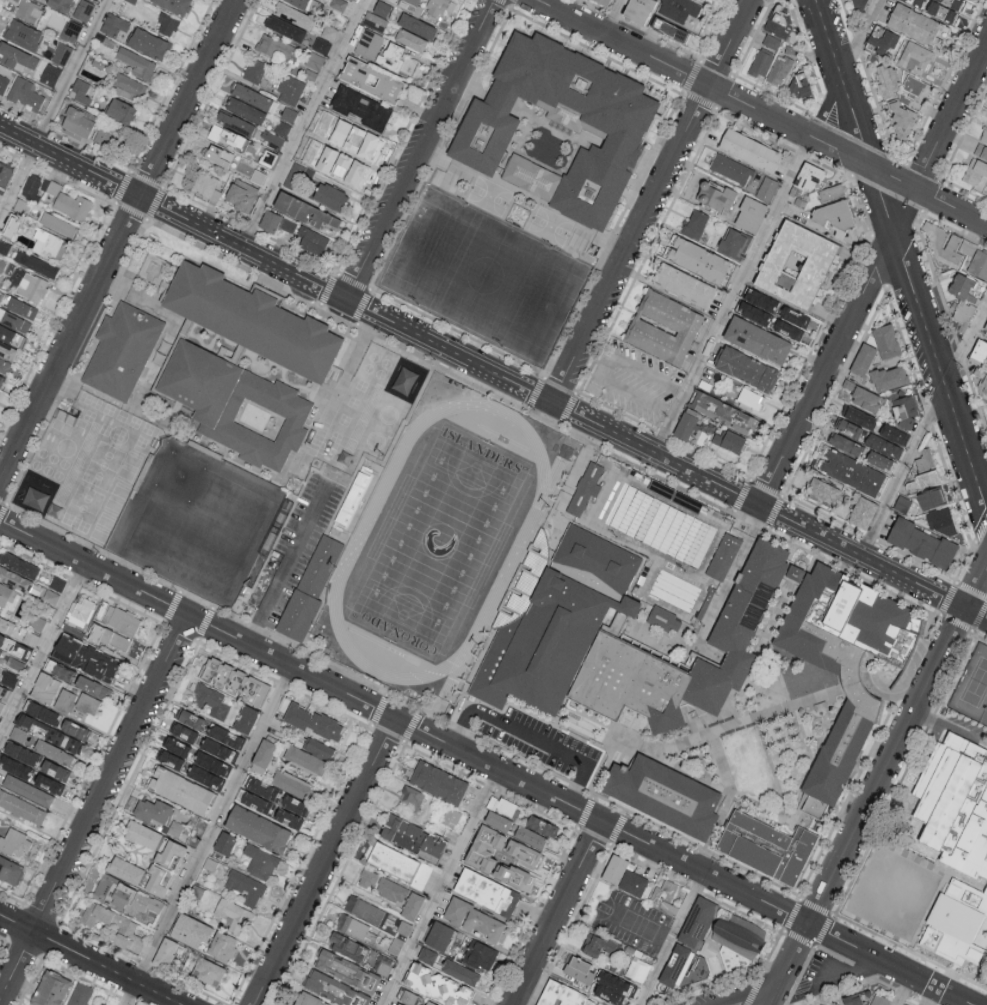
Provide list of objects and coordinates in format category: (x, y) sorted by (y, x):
building: (698, 0)
building: (392, 1)
building: (603, 2)
building: (270, 3)
building: (298, 3)
building: (918, 3)
building: (951, 3)
building: (338, 4)
building: (859, 4)
building: (59, 5)
building: (174, 5)
building: (412, 5)
building: (382, 8)
building: (28, 10)
building: (83, 10)
building: (434, 10)
building: (678, 10)
building: (639, 11)
building: (941, 12)
building: (293, 15)
road: (615, 17)
building: (373, 20)
building: (167, 24)
building: (114, 25)
building: (916, 25)
building: (416, 26)
building: (781, 26)
building: (284, 28)
building: (71, 31)
building: (329, 32)
building: (22, 35)
building: (680, 36)
road: (857, 36)
building: (410, 39)
building: (883, 40)
building: (368, 43)
building: (771, 43)
building: (149, 44)
building: (321, 45)
building: (272, 47)
building: (61, 54)
building: (16, 56)
building: (914, 58)
building: (395, 59)
building: (872, 60)
building: (137, 63)
building: (760, 65)
building: (781, 68)
building: (254, 70)
building: (50, 74)
building: (371, 80)
building: (3, 81)
building: (888, 81)
building: (128, 85)
building: (801, 88)
building: (290, 89)
building: (917, 90)
building: (82, 91)
building: (25, 93)
building: (252, 97)
road: (824, 103)
building: (360, 108)
building: (245, 110)
road: (54, 111)
building: (120, 111)
road: (762, 111)
building: (289, 114)
building: (903, 116)
building: (319, 117)
building: (77, 121)
building: (235, 123)
road: (302, 123)
building: (562, 123)
building: (278, 133)
building: (227, 136)
building: (984, 136)
building: (360, 142)
road: (420, 149)
building: (311, 150)
building: (751, 152)
building: (981, 152)
building: (218, 155)
building: (267, 158)
building: (241, 166)
building: (729, 169)
building: (346, 170)
building: (975, 171)
building: (5, 173)
building: (258, 176)
building: (531, 177)
building: (289, 179)
building: (807, 180)
building: (202, 183)
building: (51, 186)
building: (32, 187)
building: (767, 188)
building: (716, 194)
building: (830, 194)
building: (215, 195)
building: (240, 196)
building: (329, 196)
road: (652, 200)
building: (72, 206)
building: (303, 211)
building: (750, 213)
building: (836, 219)
building: (269, 222)
building: (694, 223)
building: (57, 224)
building: (311, 241)
building: (734, 242)
building: (49, 244)
road: (119, 244)
building: (947, 246)
building: (4, 247)
road: (900, 255)
building: (698, 258)
building: (35, 263)
building: (2, 264)
building: (797, 266)
building: (979, 266)
road: (873, 273)
building: (683, 283)
building: (27, 285)
building: (962, 287)
road: (730, 292)
building: (758, 305)
building: (21, 308)
building: (964, 315)
building: (14, 321)
building: (254, 321)
building: (790, 321)
building: (663, 326)
building: (985, 329)
building: (10, 337)
building: (757, 338)
building: (887, 341)
building: (124, 351)
building: (7, 352)
building: (980, 352)
building: (864, 361)
building: (5, 367)
building: (747, 367)
road: (603, 368)
road: (493, 371)
building: (1, 379)
building: (890, 380)
building: (983, 390)
building: (750, 397)
building: (860, 397)
building: (237, 404)
building: (905, 408)
building: (723, 411)
building: (861, 419)
building: (686, 423)
road: (922, 426)
building: (850, 430)
building: (894, 435)
building: (730, 440)
building: (847, 446)
building: (884, 447)
building: (206, 450)
building: (924, 461)
building: (881, 463)
building: (853, 474)
building: (142, 477)
building: (923, 482)
building: (586, 487)
building: (822, 491)
building: (352, 497)
building: (34, 498)
building: (931, 501)
building: (902, 503)
building: (862, 513)
park: (196, 522)
building: (943, 523)
park: (439, 540)
track: (359, 541)
building: (921, 543)
parking lot: (295, 548)
building: (723, 555)
road: (289, 559)
building: (18, 564)
building: (14, 578)
building: (56, 582)
building: (311, 591)
building: (8, 596)
building: (49, 596)
track: (335, 598)
building: (80, 611)
building: (121, 619)
building: (662, 619)
building: (6, 624)
building: (558, 624)
building: (738, 631)
building: (108, 636)
road: (42, 649)
building: (0, 650)
building: (135, 650)
building: (85, 656)
building: (15, 662)
building: (48, 664)
building: (845, 664)
building: (63, 672)
building: (9, 678)
building: (234, 680)
building: (630, 684)
building: (90, 685)
building: (44, 687)
park: (973, 687)
building: (4, 692)
building: (64, 700)
building: (212, 700)
building: (87, 703)
building: (1, 705)
building: (39, 711)
building: (296, 714)
building: (190, 718)
building: (245, 718)
building: (23, 719)
park: (985, 719)
building: (325, 725)
building: (74, 728)
building: (183, 731)
building: (18, 734)
road: (571, 734)
building: (225, 735)
road: (531, 737)
building: (62, 739)
parking lot: (535, 740)
building: (216, 748)
building: (52, 751)
building: (20, 752)
building: (173, 752)
building: (310, 754)
building: (262, 755)
building: (211, 763)
road: (485, 763)
building: (13, 766)
building: (54, 769)
building: (204, 776)
building: (438, 781)
building: (48, 783)
building: (293, 783)
road: (878, 785)
building: (27, 789)
building: (179, 789)
building: (256, 793)
building: (411, 797)
building: (664, 798)
building: (503, 805)
building: (956, 806)
building: (22, 807)
road: (94, 809)
building: (153, 810)
building: (291, 810)
building: (450, 816)
building: (497, 820)
building: (542, 825)
building: (257, 827)
building: (402, 832)
building: (142, 833)
road: (207, 836)
building: (530, 836)
building: (14, 842)
building: (224, 842)
building: (431, 847)
building: (767, 848)
building: (521, 852)
building: (478, 853)
building: (260, 860)
road: (325, 862)
building: (399, 864)
building: (125, 868)
building: (163, 868)
building: (10, 870)
building: (623, 875)
building: (382, 885)
building: (245, 886)
road: (439, 887)
building: (486, 891)
park: (893, 893)
building: (985, 894)
building: (126, 896)
building: (664, 897)
building: (411, 905)
building: (365, 909)
road: (558, 913)
building: (233, 914)
building: (474, 919)
building: (697, 921)
building: (955, 924)
building: (114, 925)
road: (636, 925)
building: (356, 928)
building: (190, 929)
building: (438, 935)
road: (665, 937)
building: (739, 937)
building: (395, 945)
building: (599, 945)
building: (222, 946)
building: (347, 946)
building: (164, 952)
building: (426, 955)
building: (483, 956)
road: (89, 960)
building: (383, 964)
road: (838, 966)
building: (677, 967)
building: (637, 969)
building: (207, 970)
building: (346, 970)
building: (460, 971)
building: (579, 971)
building: (437, 985)
building: (612, 986)
building: (49, 988)
building: (334, 989)
road: (900, 989)
building: (80, 994)
building: (408, 996)
building: (563, 996)
road: (755, 998)
building: (306, 999)
building: (852, 999)
building: (879, 1000)
building: (98, 1003)
building: (429, 1003)
building: (398, 1004)
building: (817, 1004)

